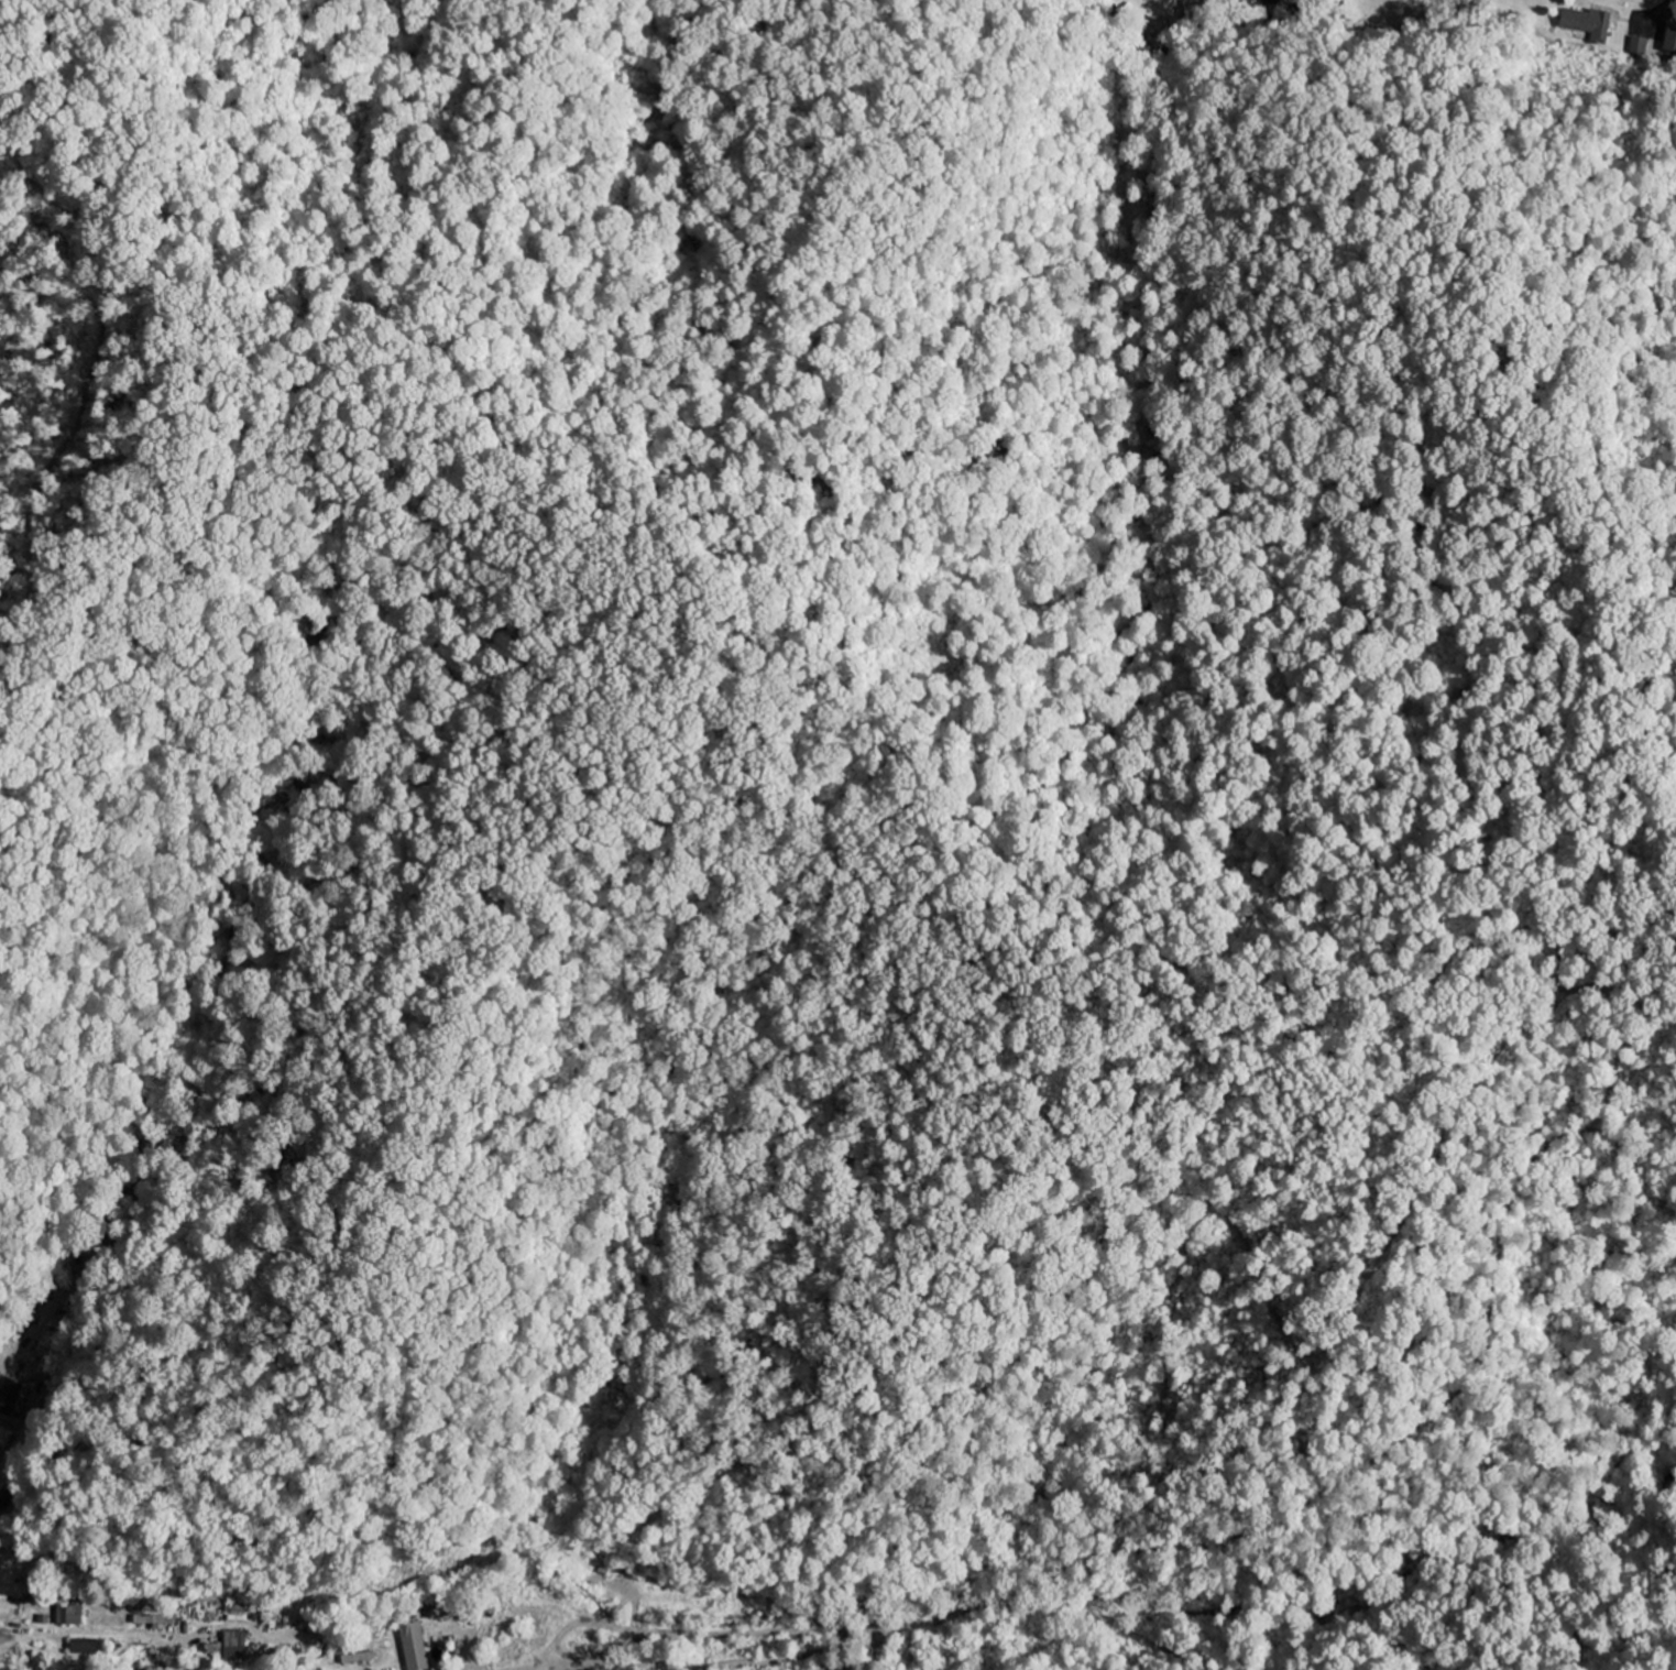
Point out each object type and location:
building: (1587, 24)
building: (1670, 39)
building: (68, 1617)
building: (152, 1622)
building: (412, 1647)
building: (227, 1648)
building: (85, 1649)
building: (357, 1659)

